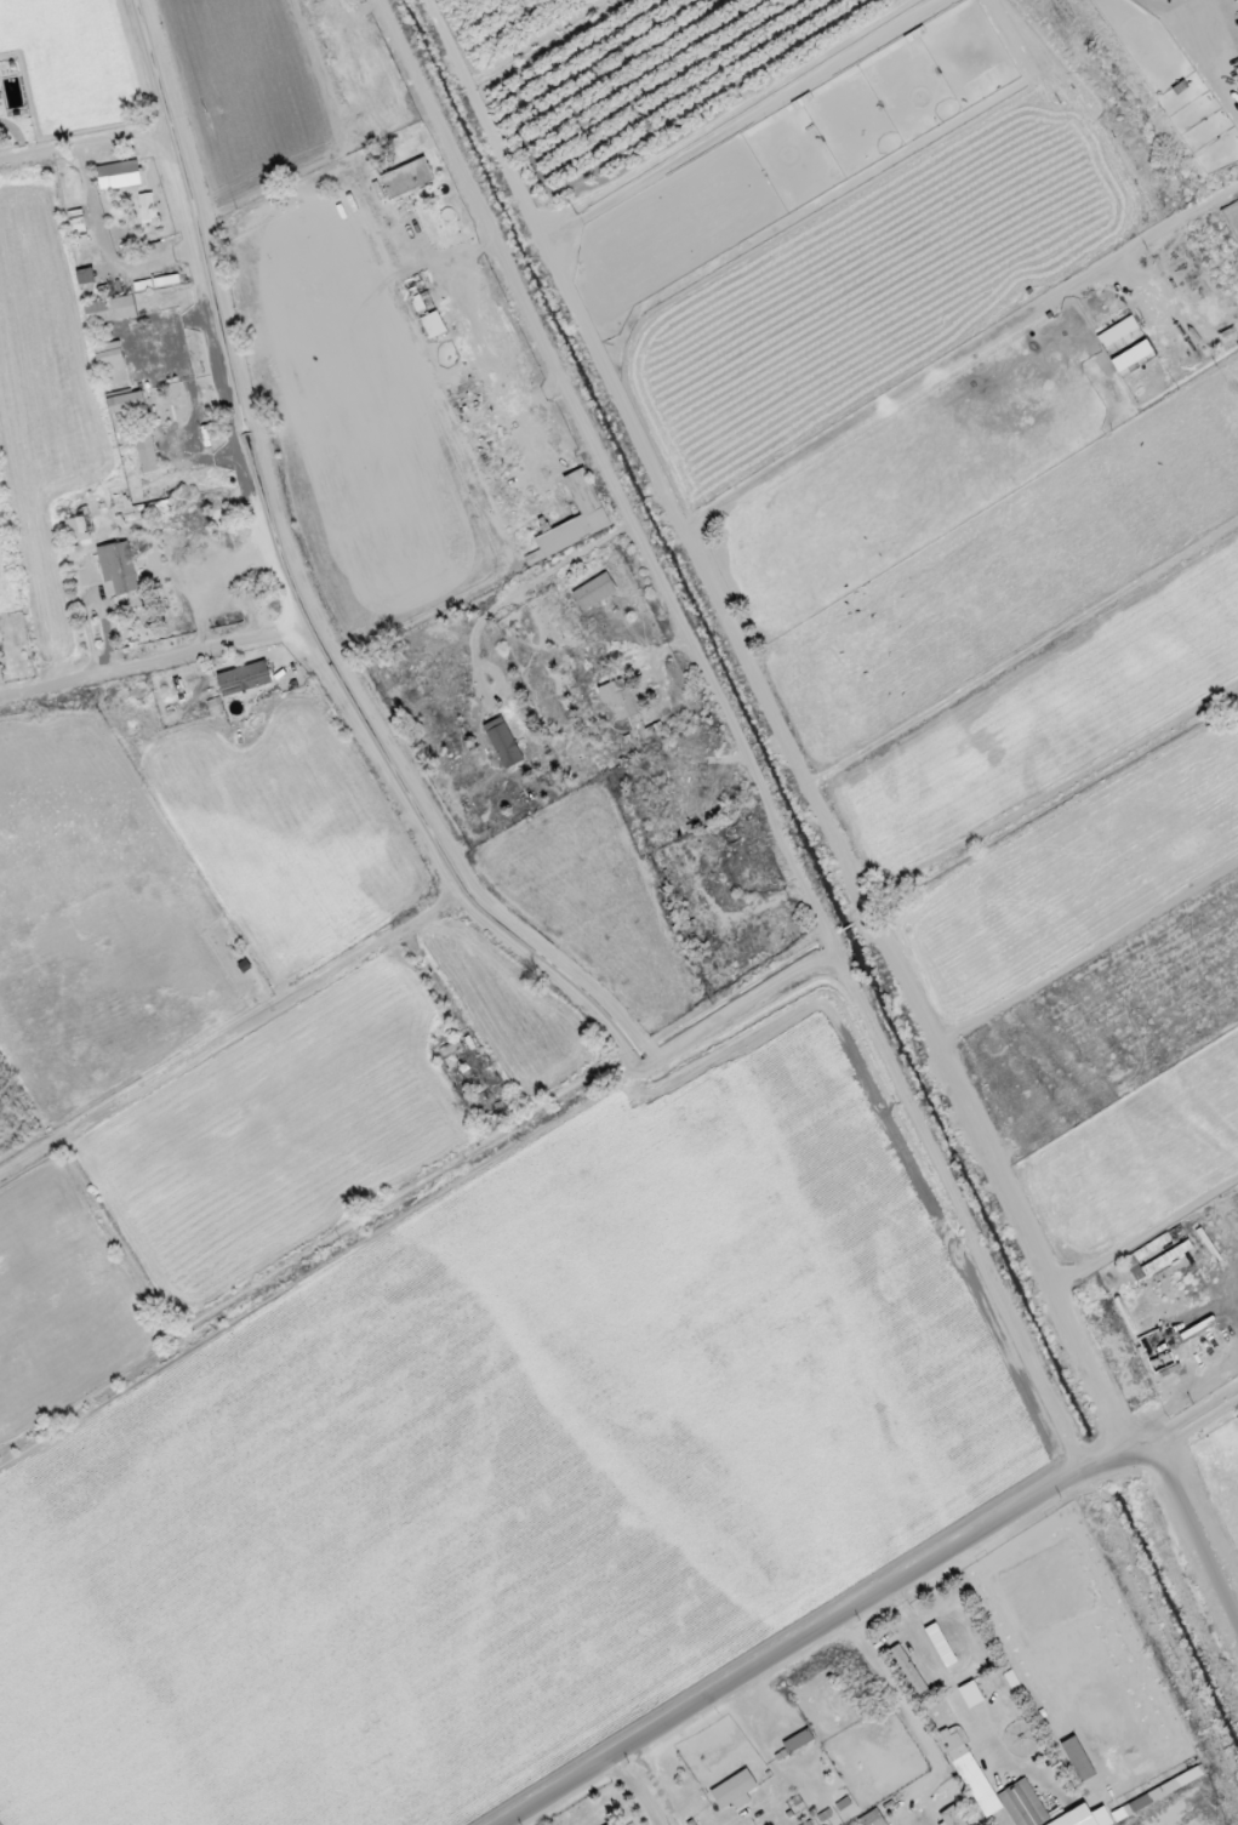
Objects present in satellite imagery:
building: (118, 176)
building: (406, 178)
road: (215, 289)
building: (432, 325)
building: (108, 330)
building: (1117, 332)
building: (1131, 357)
building: (125, 403)
building: (146, 450)
building: (584, 497)
building: (116, 569)
building: (594, 592)
road: (156, 662)
building: (244, 679)
building: (618, 698)
road: (772, 730)
road: (736, 735)
building: (502, 743)
road: (529, 945)
road: (1142, 1234)
road: (1180, 1579)
road: (871, 1601)
building: (940, 1646)
building: (908, 1671)
building: (970, 1694)
building: (1078, 1760)
building: (734, 1791)
building: (1021, 1793)
building: (951, 1818)
building: (872, 1819)

